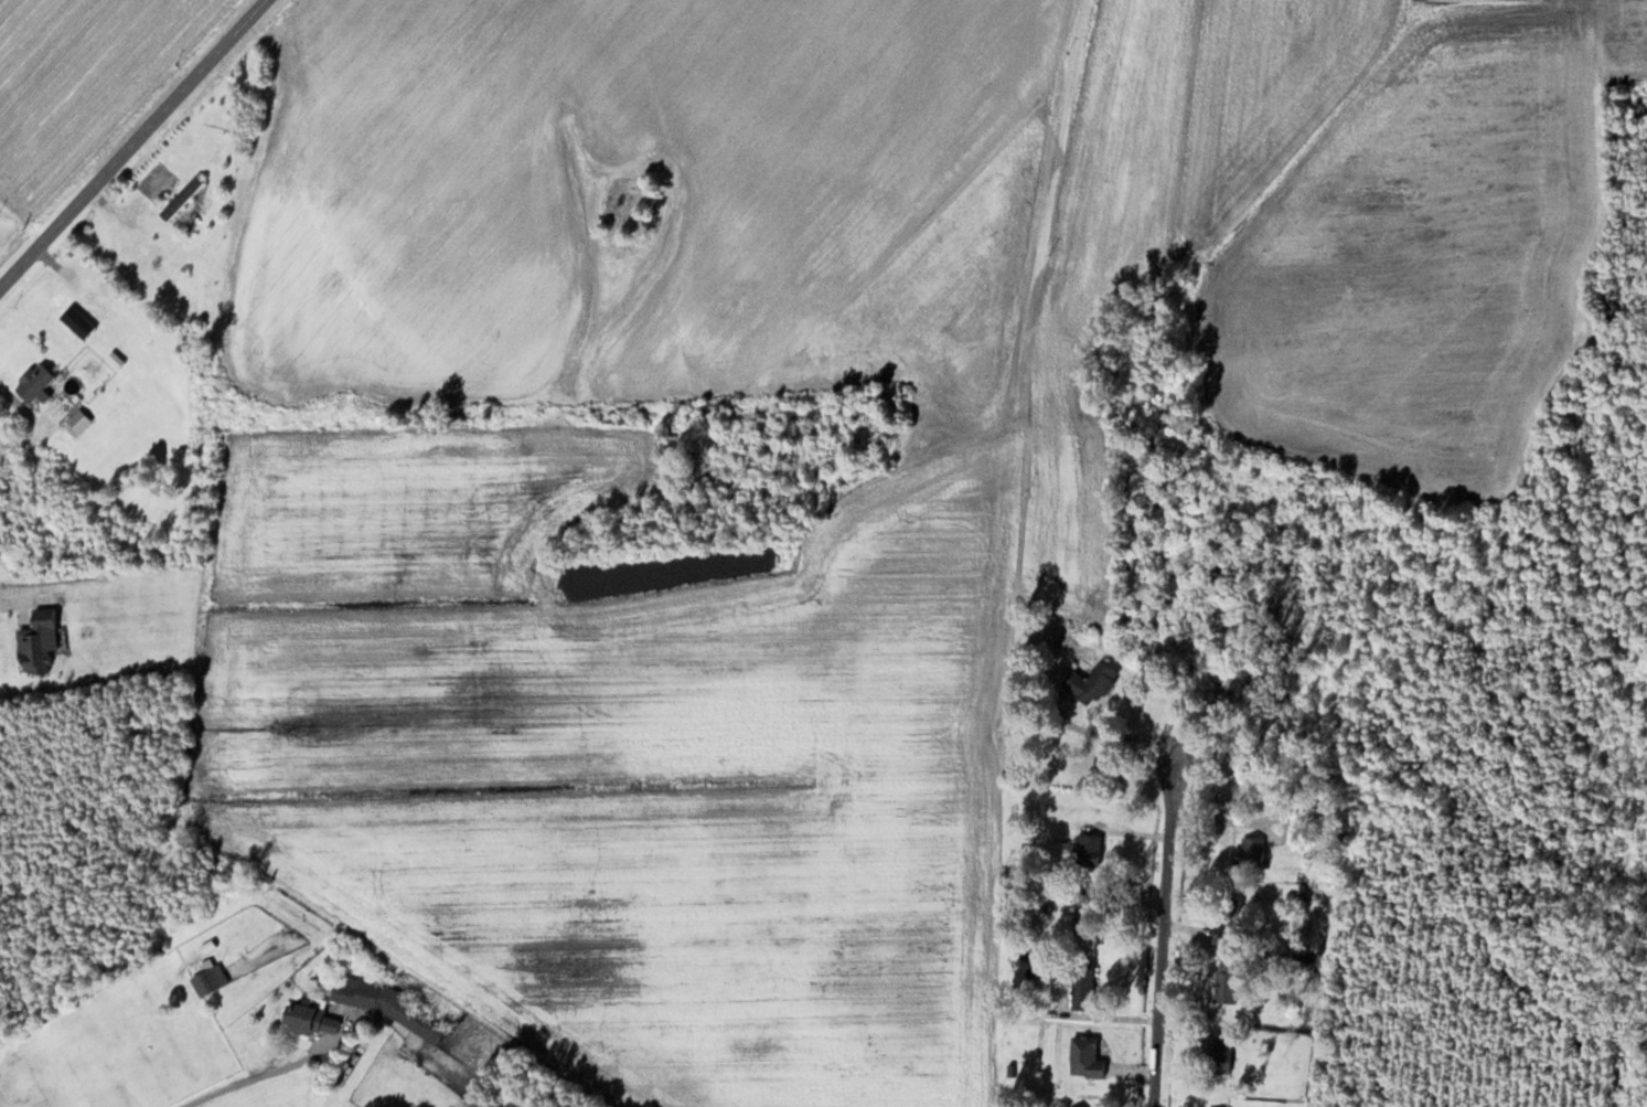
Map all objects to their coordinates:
road: (132, 142)
building: (180, 199)
building: (84, 311)
building: (31, 381)
building: (74, 422)
building: (17, 641)
building: (1089, 682)
building: (1089, 850)
building: (1249, 852)
road: (1142, 864)
building: (1230, 918)
building: (206, 978)
building: (1080, 983)
building: (388, 1009)
building: (1219, 1054)
road: (246, 1078)

